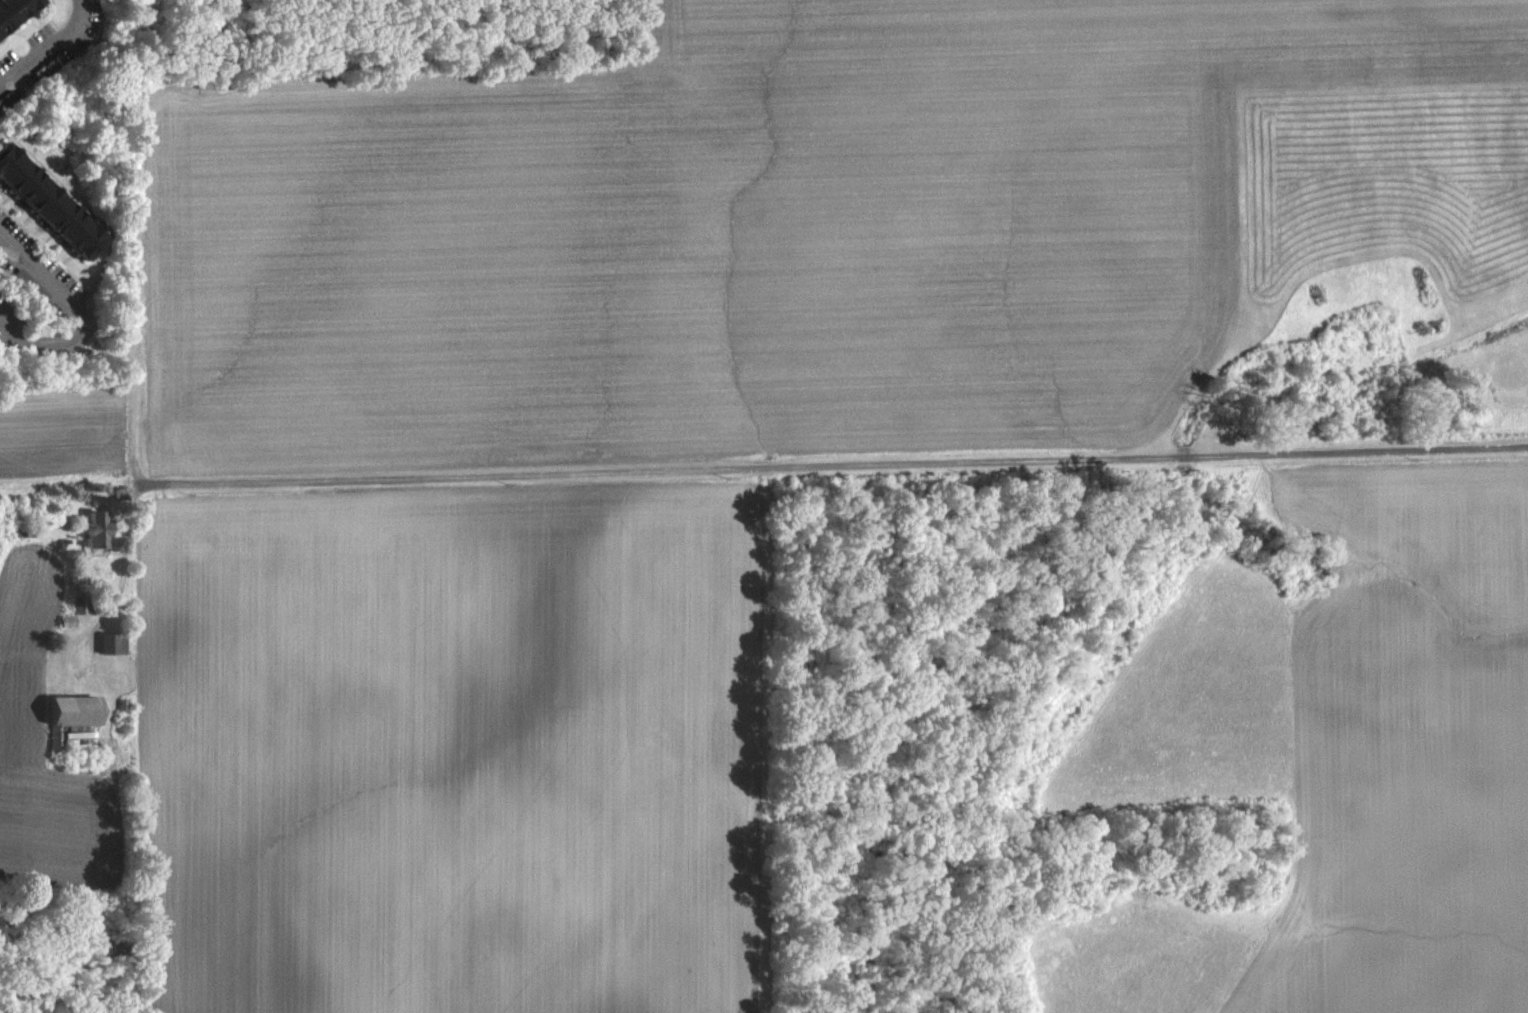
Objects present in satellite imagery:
road: (50, 45)
building: (46, 216)
building: (28, 297)
road: (67, 311)
road: (834, 462)
building: (93, 543)
road: (124, 560)
building: (110, 655)
building: (70, 722)

